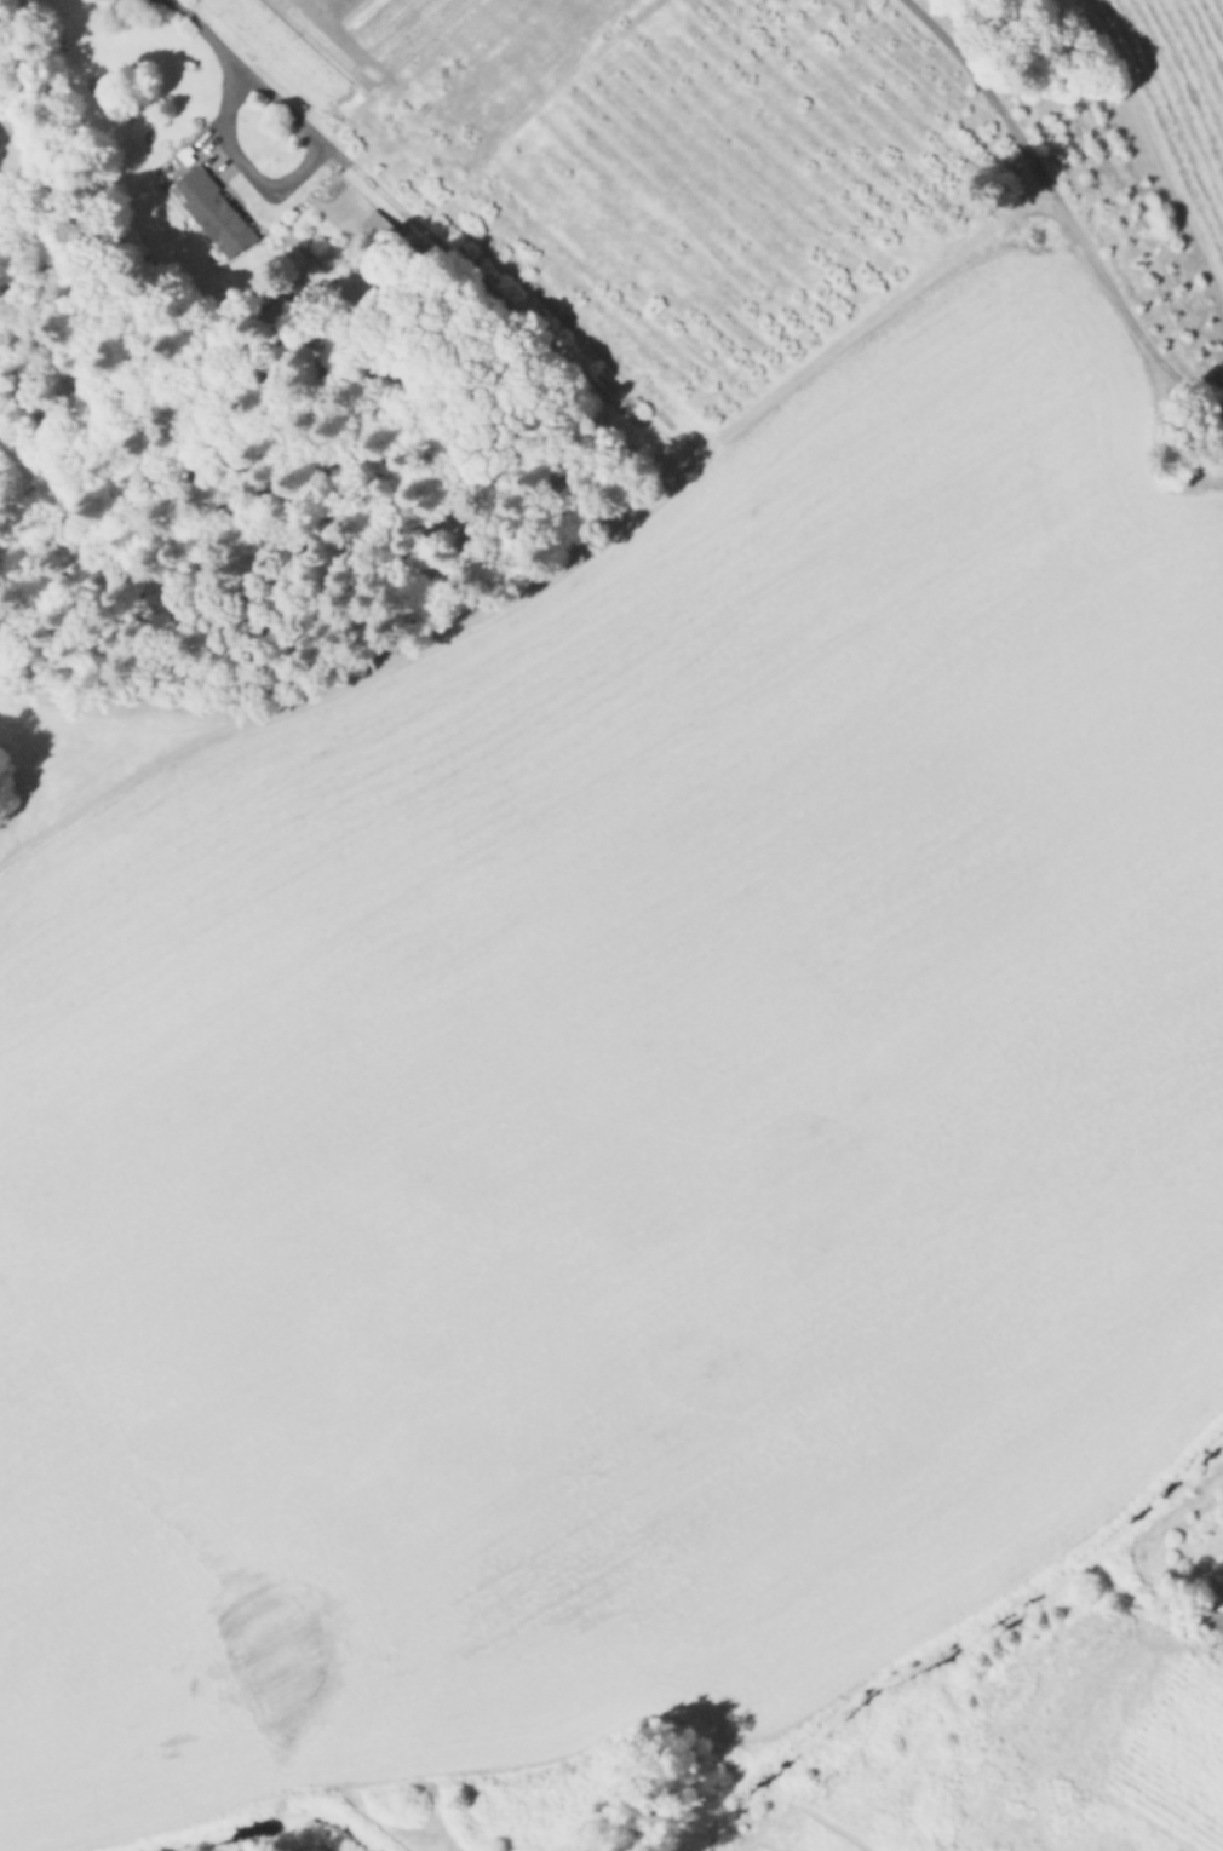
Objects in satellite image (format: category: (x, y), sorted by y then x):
road: (203, 31)
crop: (653, 162)
crop: (1154, 169)
road: (292, 182)
building: (214, 207)
building: (377, 229)
crop: (626, 1102)

